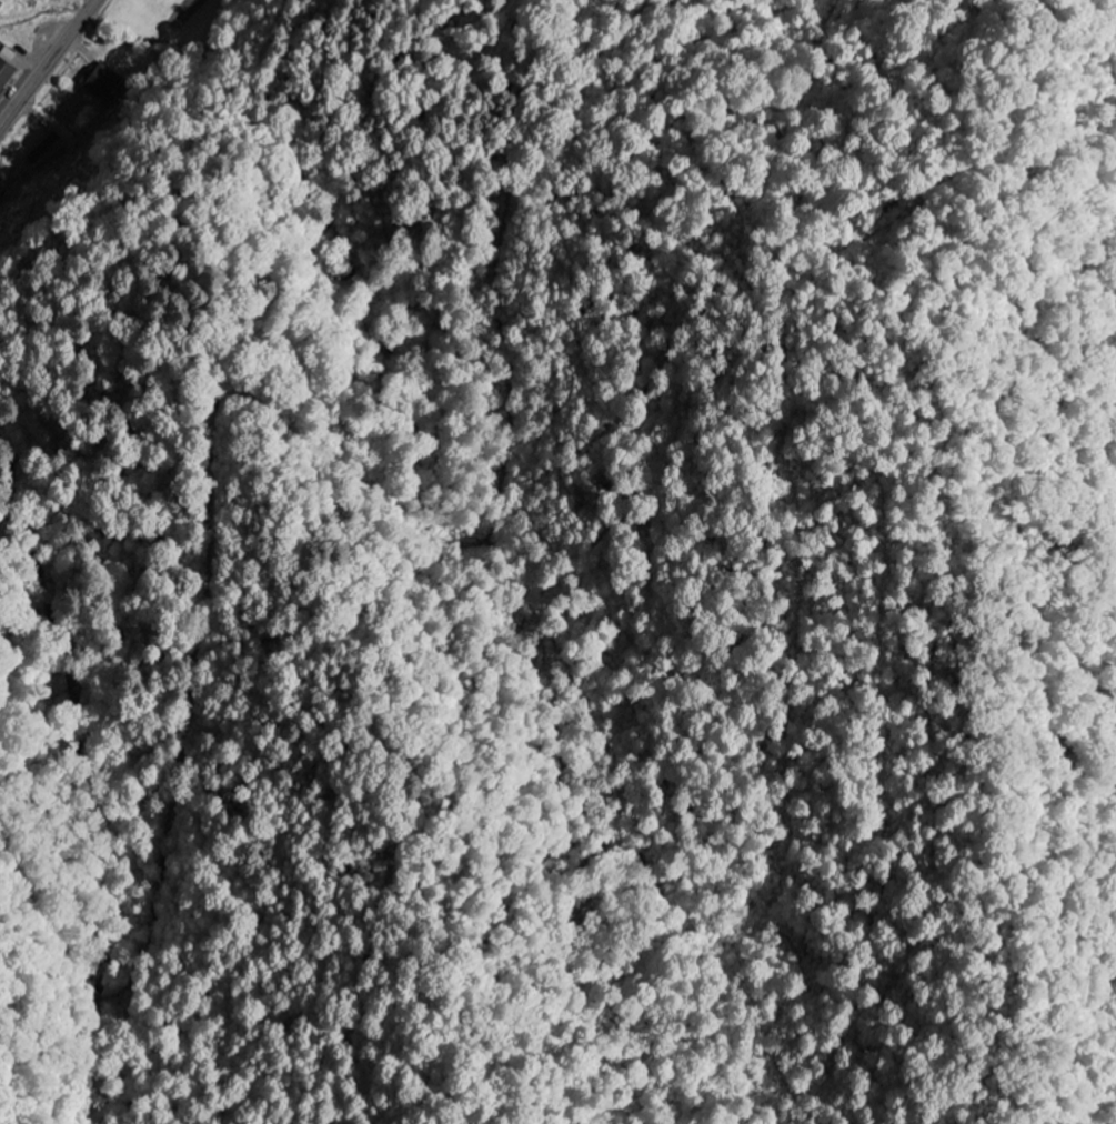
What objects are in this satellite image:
road: (49, 66)
building: (8, 68)
building: (104, 81)
building: (50, 150)

